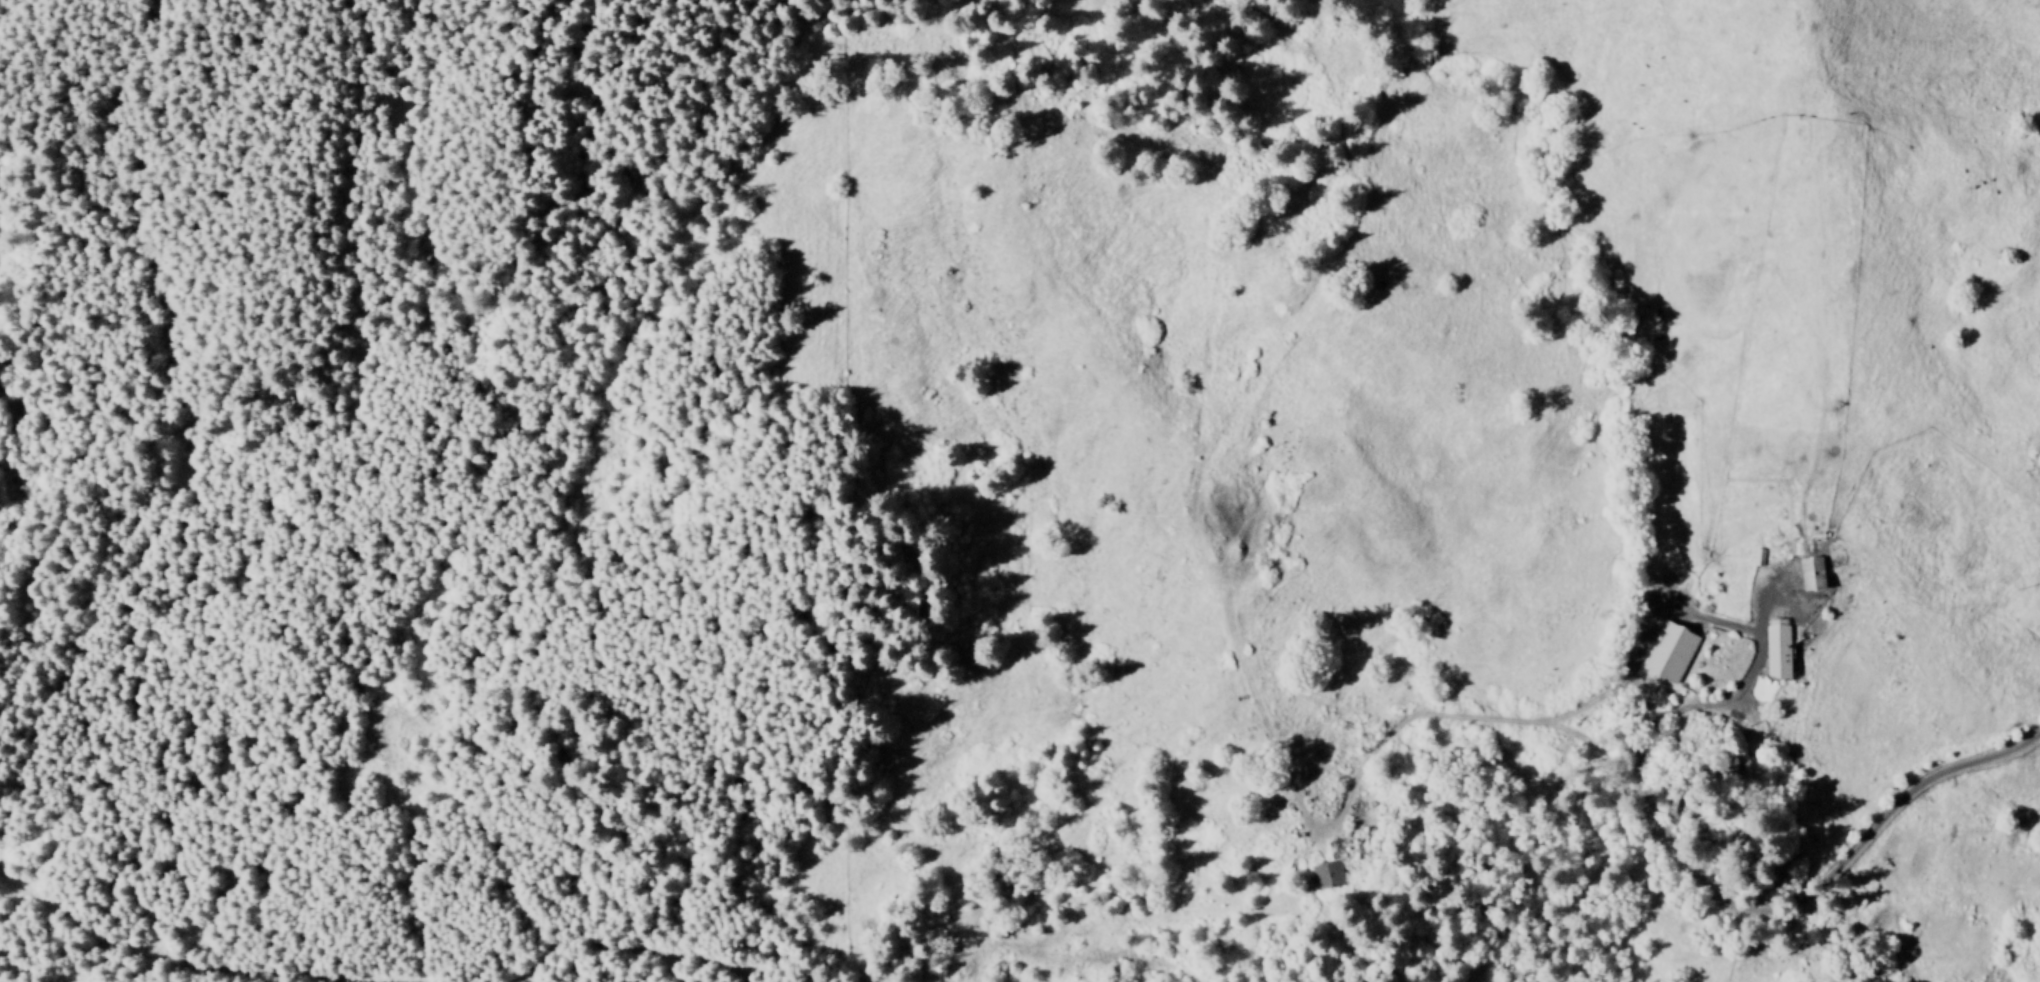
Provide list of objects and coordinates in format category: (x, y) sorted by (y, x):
road: (790, 27)
building: (1758, 558)
building: (1814, 575)
building: (1670, 652)
building: (1779, 652)
road: (82, 790)
building: (1327, 875)
road: (1791, 907)
road: (36, 954)

